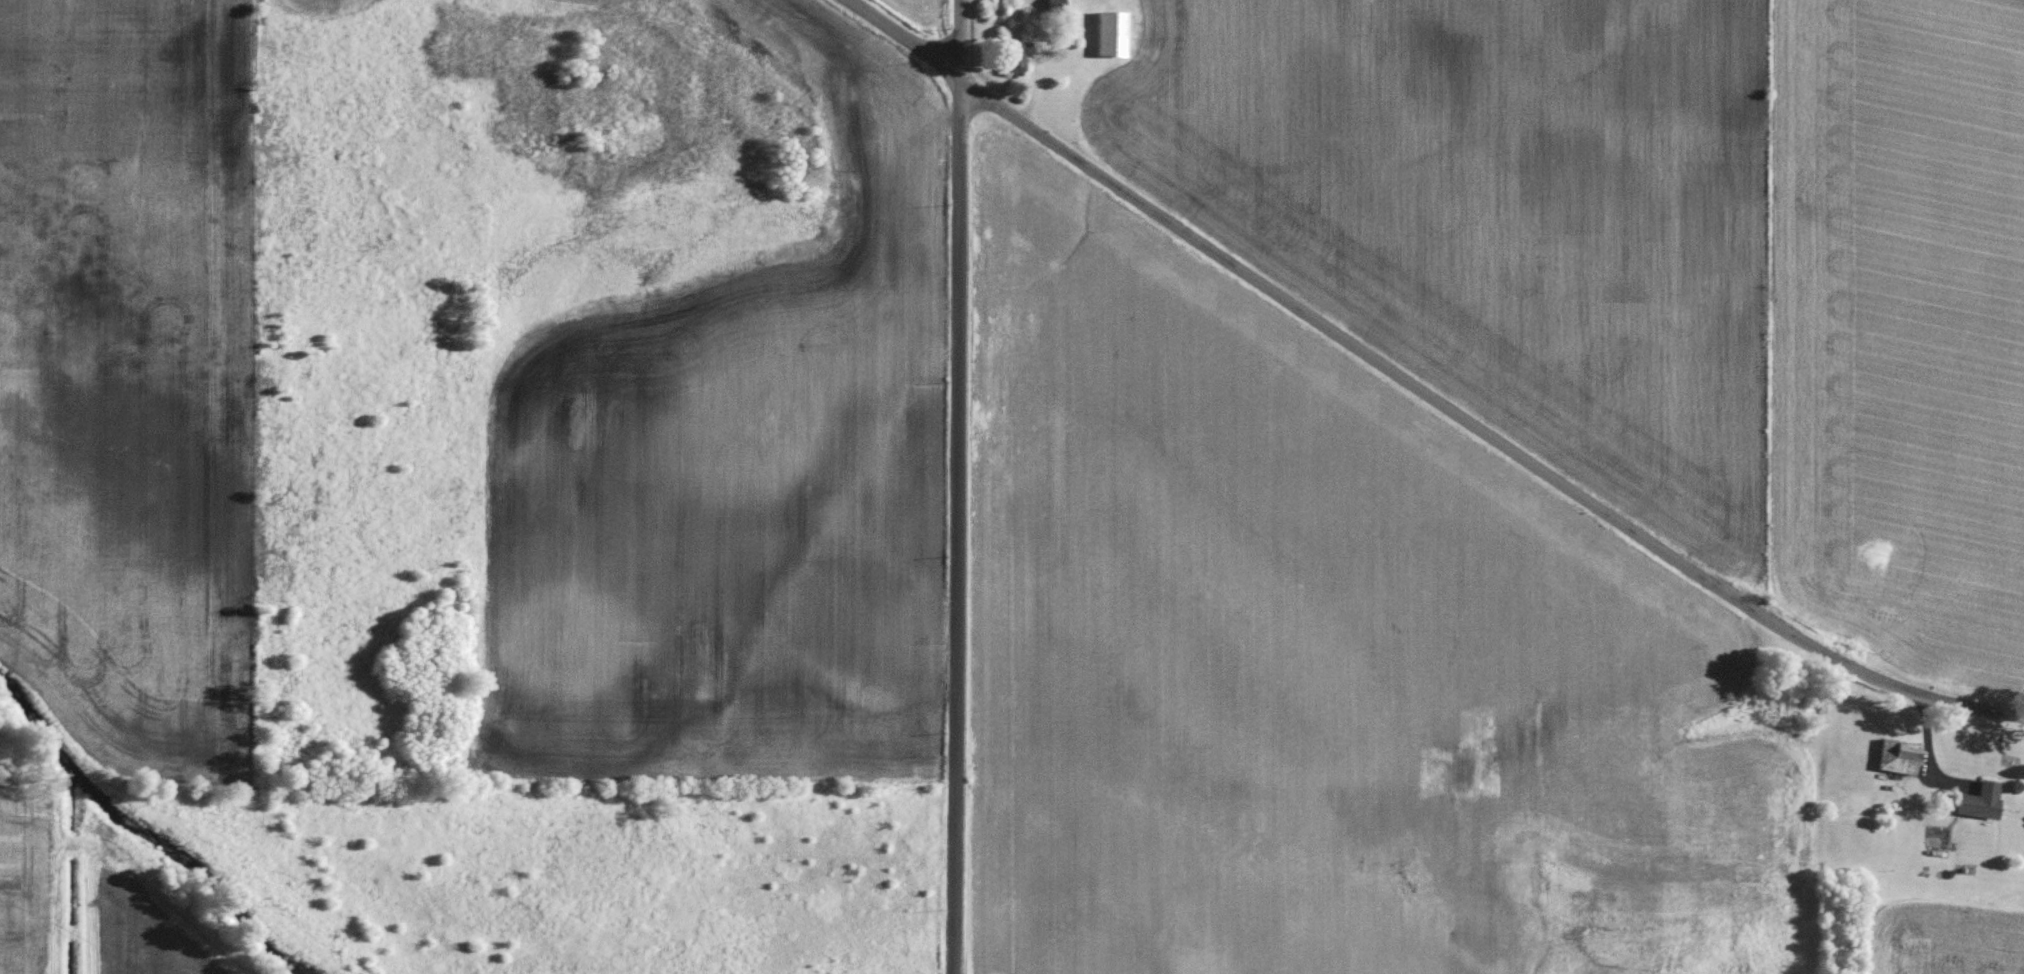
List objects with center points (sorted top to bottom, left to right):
road: (960, 29)
building: (1115, 32)
road: (907, 33)
building: (1021, 56)
road: (1028, 58)
road: (962, 75)
road: (1481, 427)
road: (958, 532)

